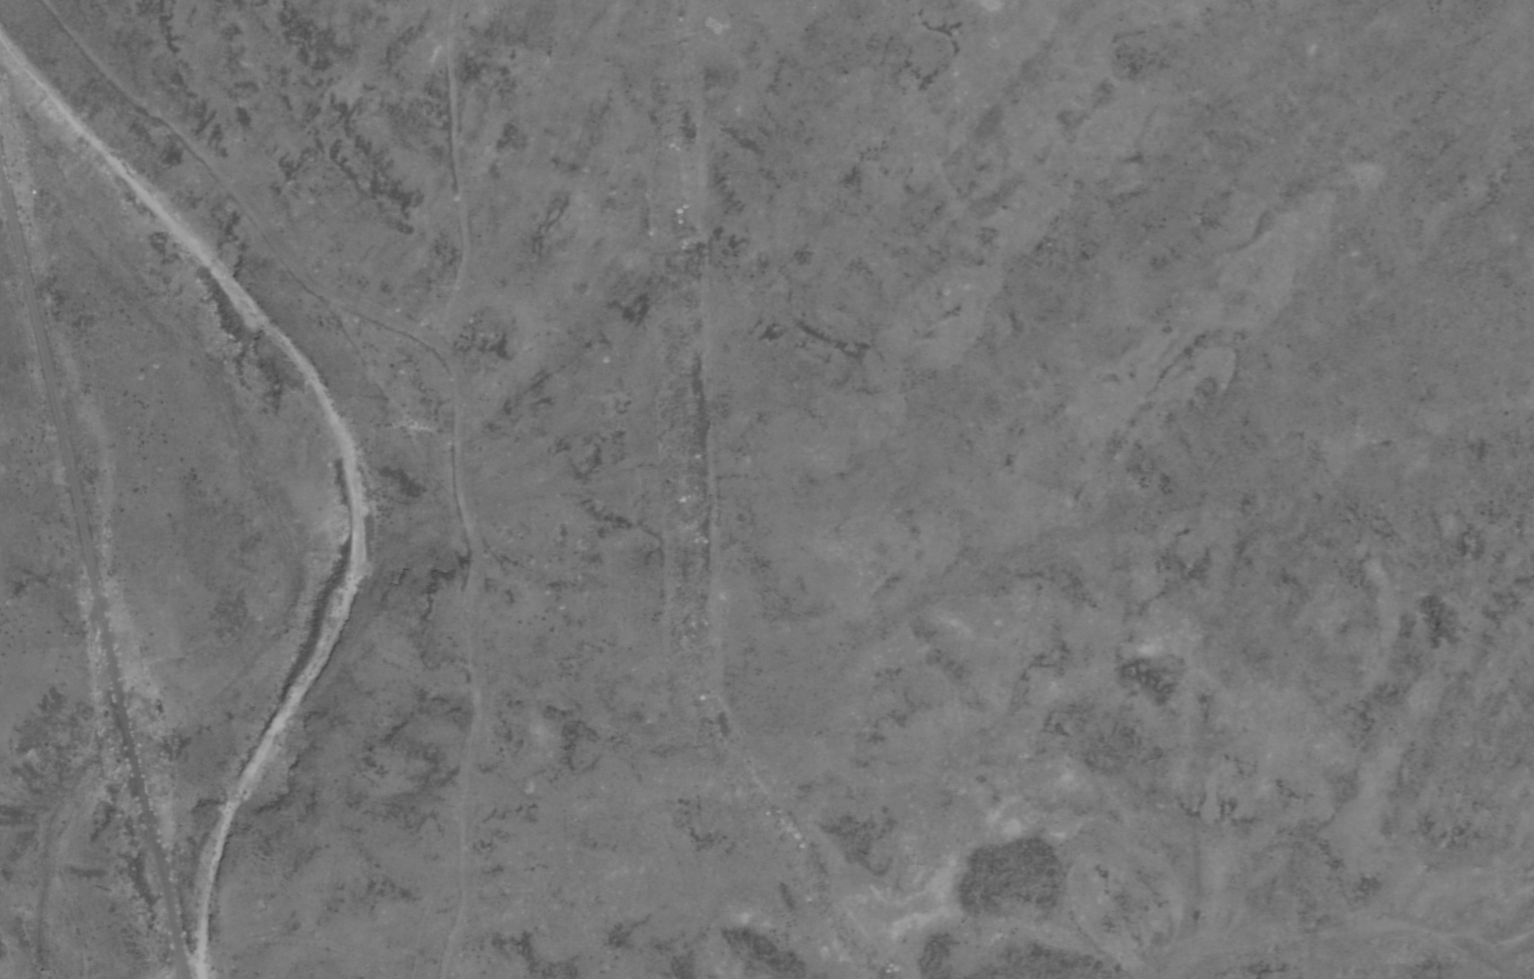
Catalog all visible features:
road: (473, 399)

